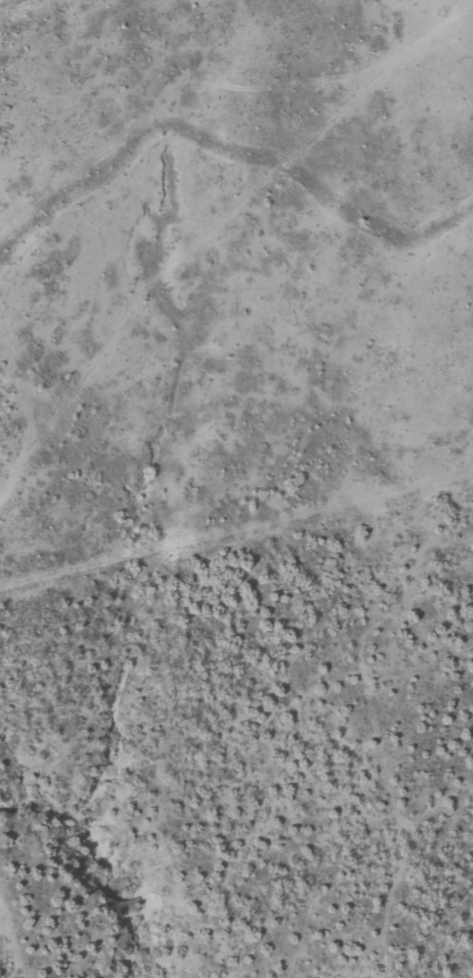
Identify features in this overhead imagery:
road: (91, 18)

